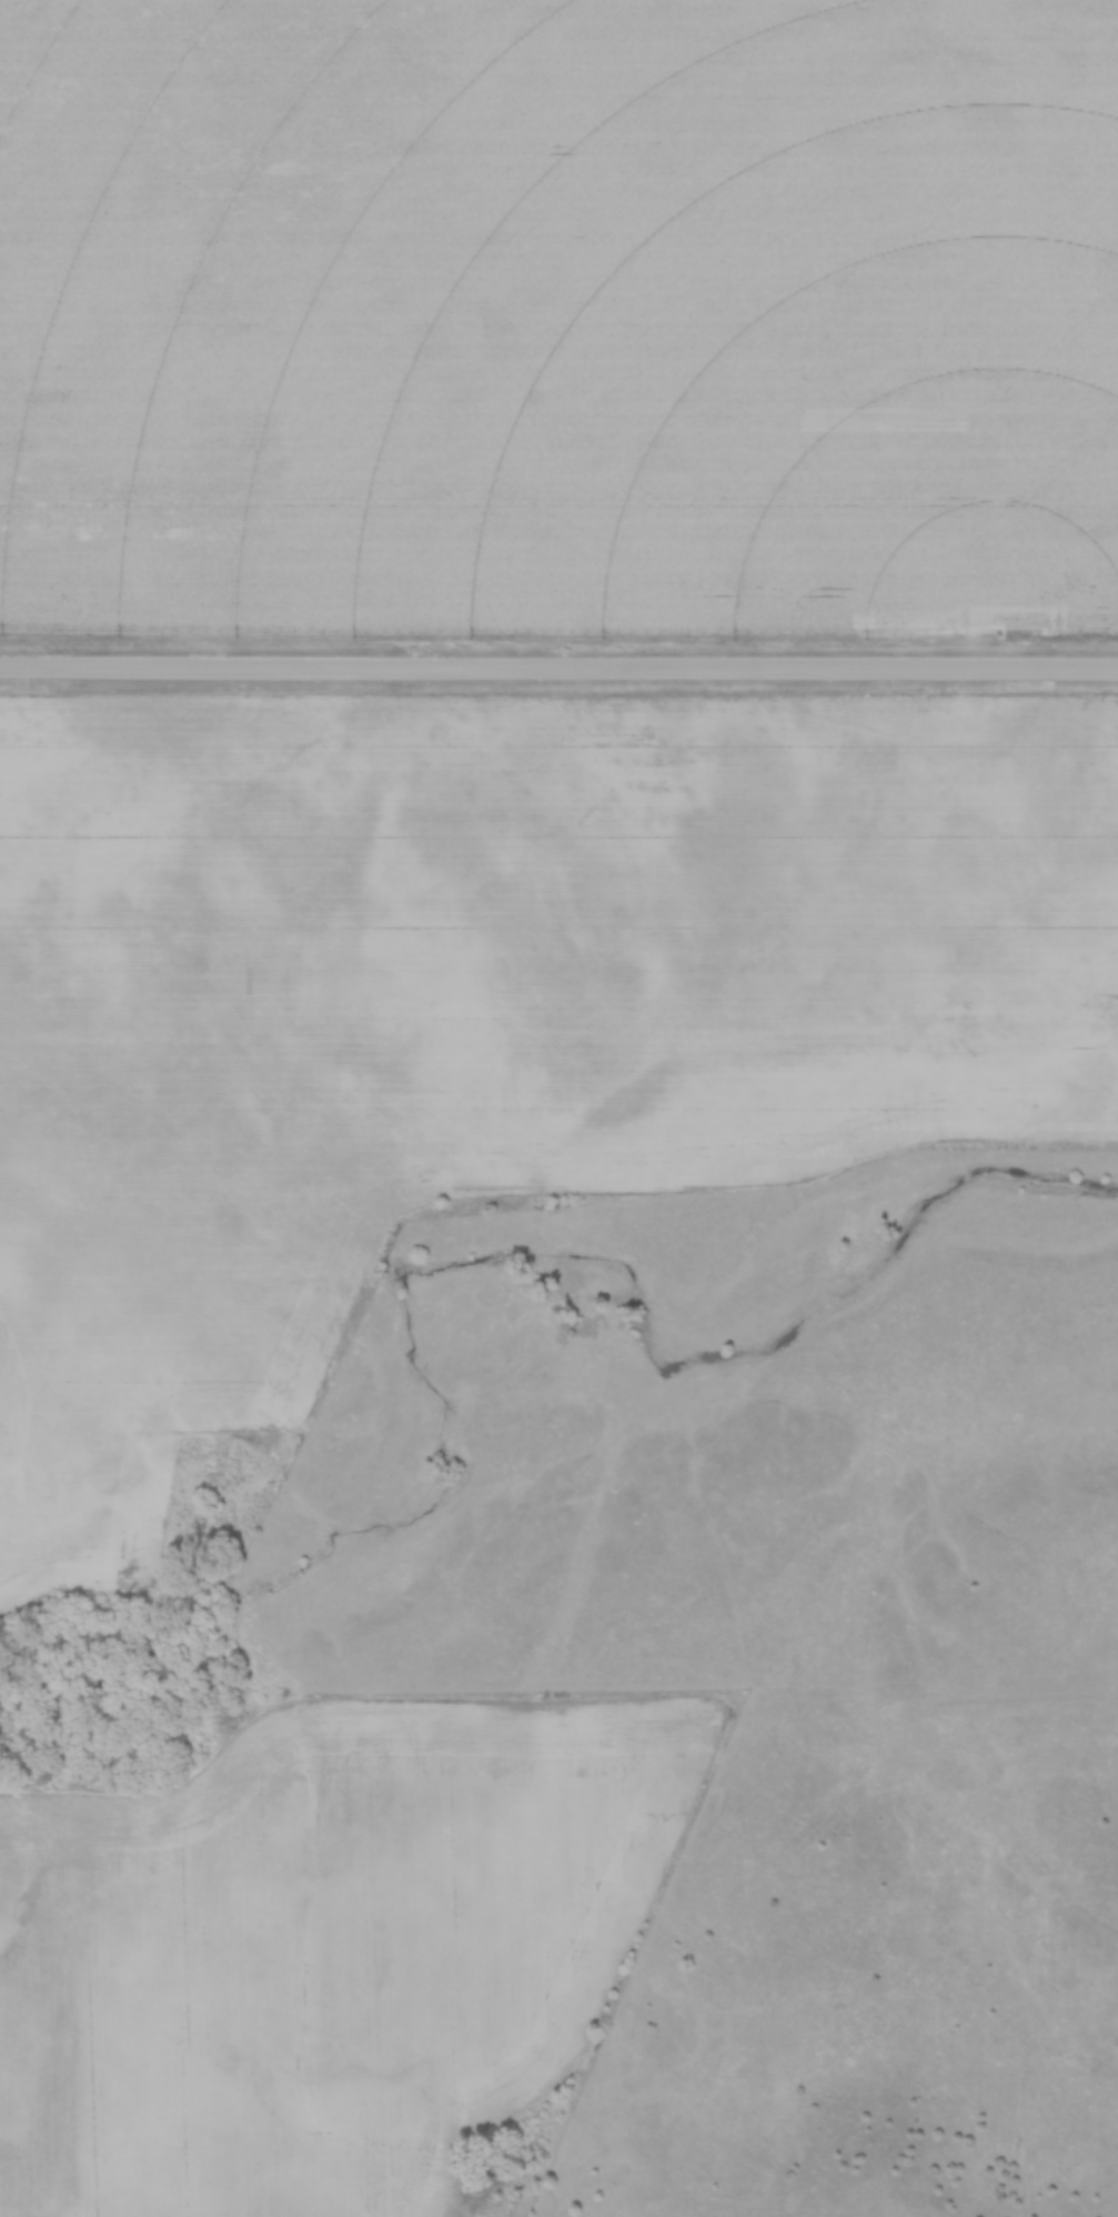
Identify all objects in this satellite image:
road: (558, 668)

